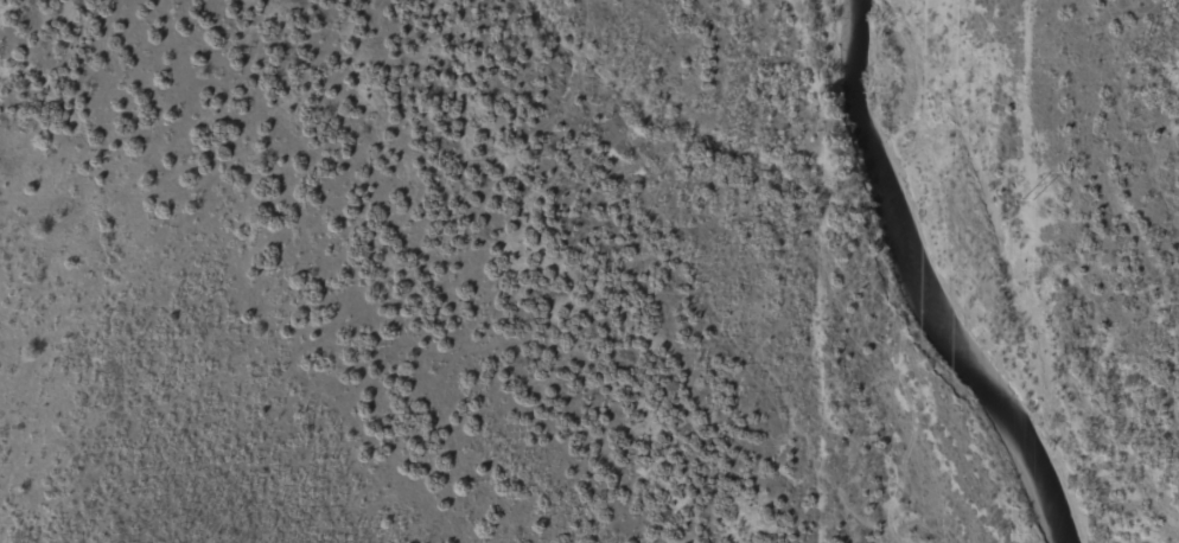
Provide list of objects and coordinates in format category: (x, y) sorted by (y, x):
power tower: (1026, 198)
river: (923, 285)

